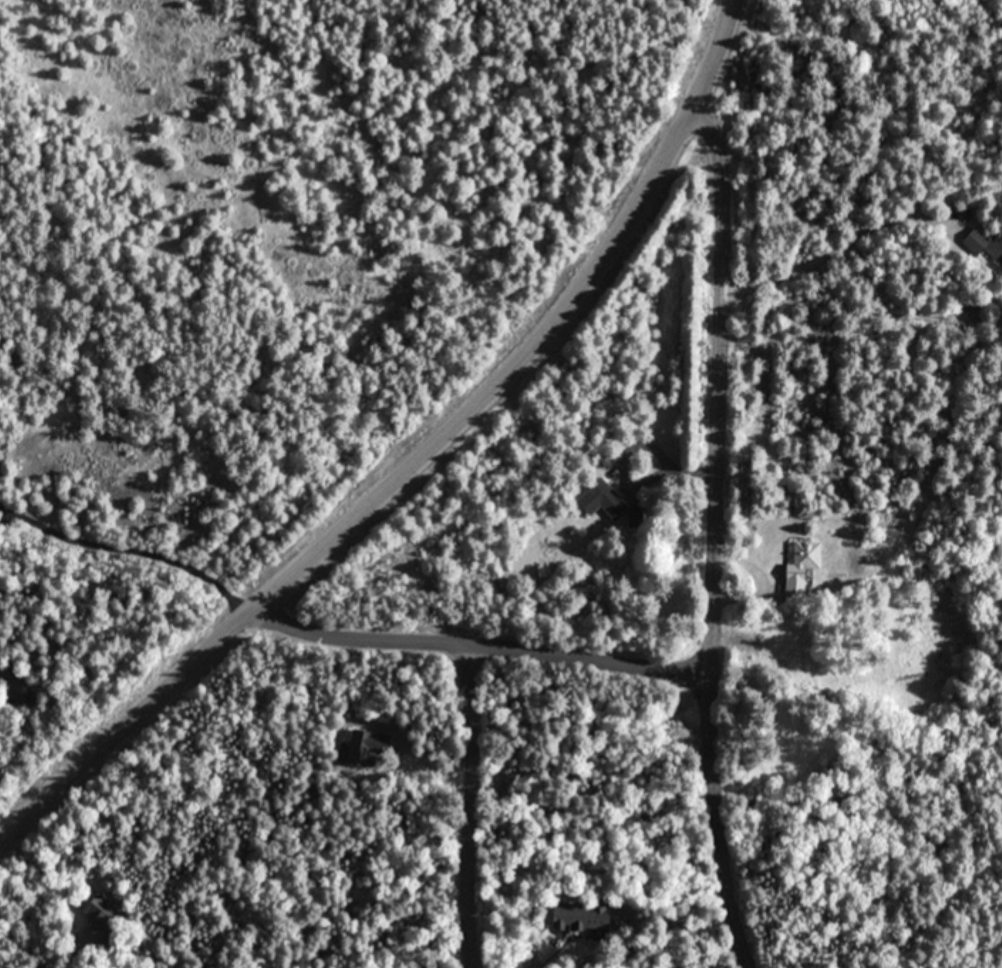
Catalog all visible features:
building: (984, 242)
road: (836, 249)
road: (631, 444)
road: (419, 461)
building: (601, 500)
road: (713, 538)
road: (131, 559)
building: (801, 563)
road: (762, 581)
road: (481, 649)
building: (21, 688)
building: (364, 746)
road: (471, 808)
building: (103, 910)
building: (580, 915)

